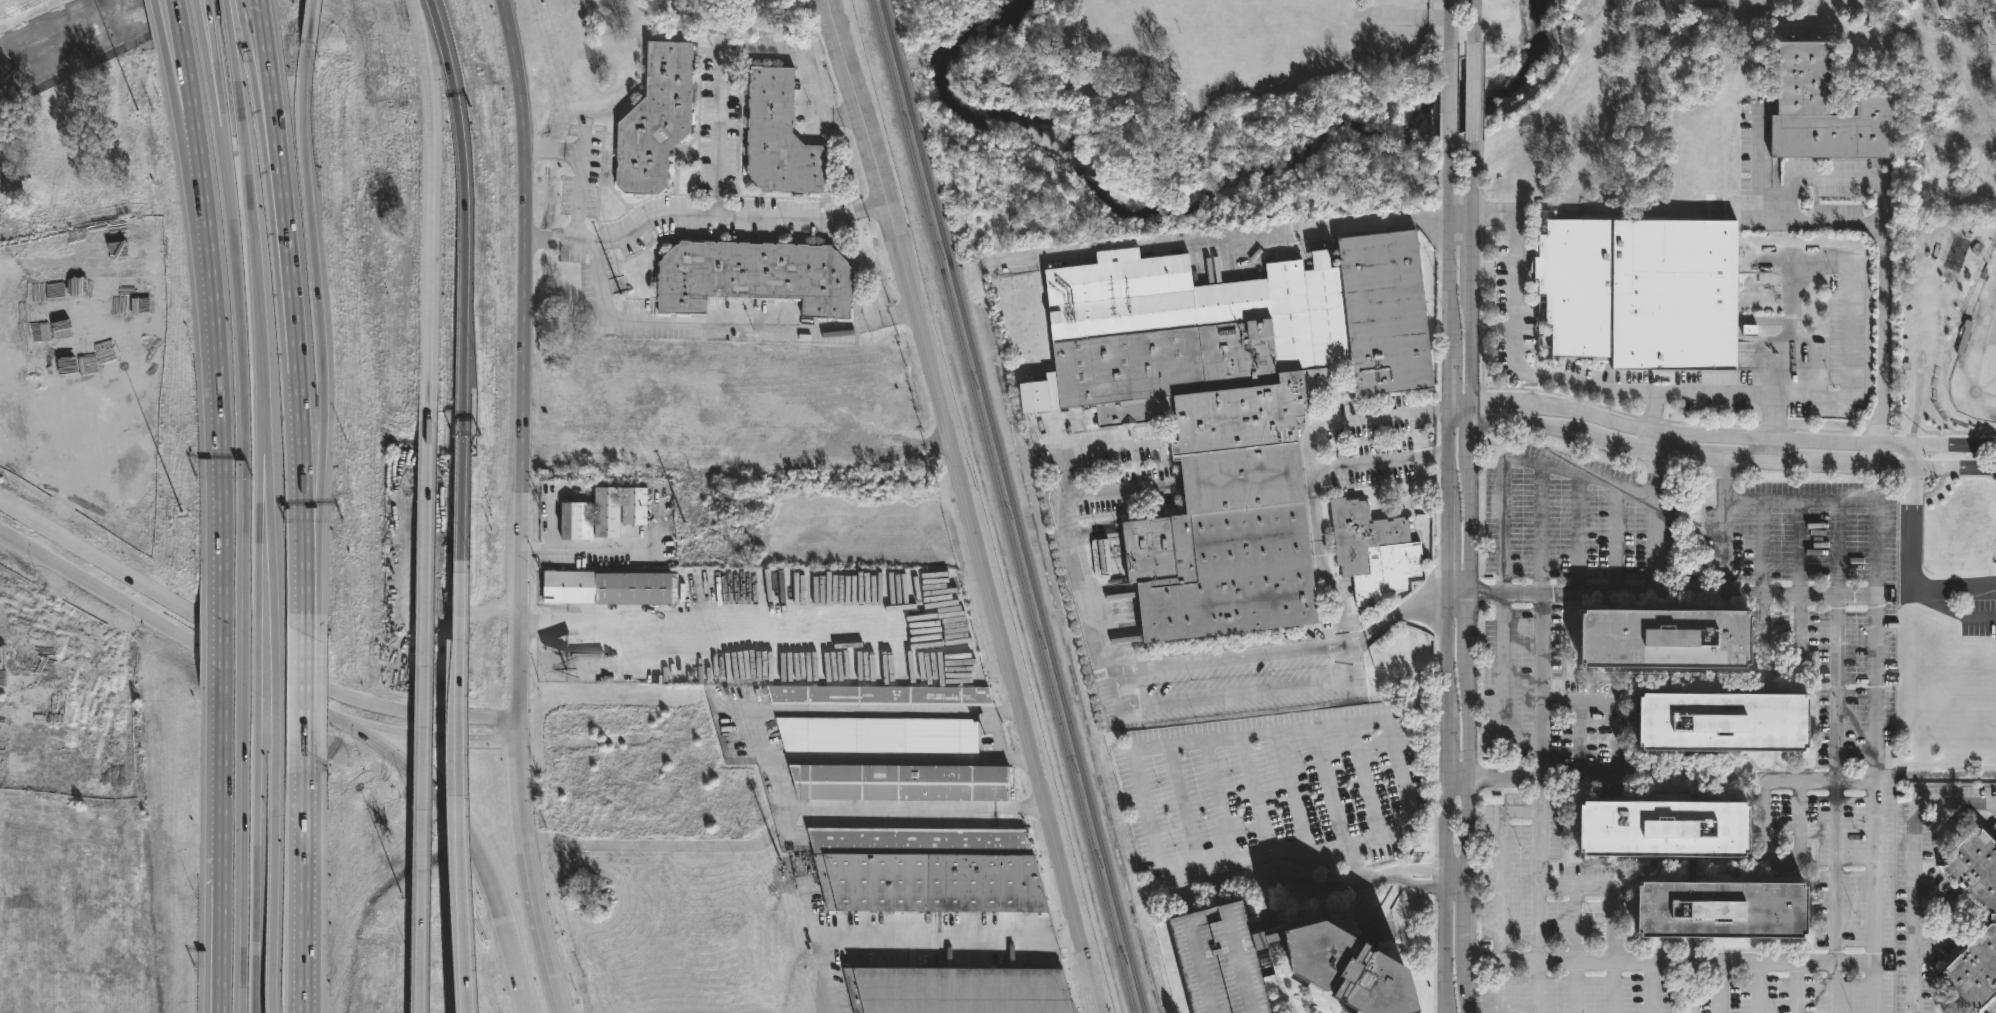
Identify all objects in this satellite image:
road: (237, 2)
road: (224, 5)
road: (206, 9)
road: (195, 11)
road: (176, 15)
road: (155, 20)
road: (1473, 22)
power tower: (544, 23)
road: (309, 24)
road: (1449, 25)
road: (243, 32)
park: (1227, 51)
road: (730, 58)
road: (186, 71)
road: (213, 73)
road: (266, 73)
road: (176, 75)
road: (208, 75)
road: (302, 90)
road: (1473, 94)
road: (1448, 100)
road: (262, 104)
road: (847, 112)
building: (1823, 112)
building: (656, 121)
road: (522, 132)
building: (779, 139)
road: (531, 148)
road: (569, 150)
road: (1817, 182)
road: (578, 195)
road: (429, 204)
road: (875, 205)
road: (670, 214)
road: (1768, 217)
road: (813, 219)
road: (1460, 226)
road: (251, 231)
road: (1298, 232)
road: (535, 238)
road: (314, 277)
building: (754, 277)
road: (464, 278)
road: (1847, 278)
power tower: (617, 287)
building: (1640, 291)
road: (902, 314)
road: (638, 318)
road: (1883, 321)
road: (837, 325)
road: (294, 333)
road: (220, 352)
park: (1977, 362)
road: (241, 365)
road: (1572, 384)
building: (1231, 408)
road: (1439, 409)
road: (1655, 412)
road: (1656, 434)
toll booth: (462, 436)
road: (1061, 437)
road: (1892, 445)
road: (1953, 445)
road: (1310, 448)
road: (1109, 449)
road: (1769, 451)
road: (1655, 454)
road: (1439, 456)
road: (1911, 456)
road: (1891, 467)
road: (1953, 468)
road: (77, 470)
road: (314, 471)
road: (1116, 490)
road: (519, 491)
road: (962, 506)
railway: (1002, 506)
railway: (1012, 506)
building: (634, 508)
building: (606, 514)
road: (550, 522)
building: (576, 522)
road: (1909, 531)
road: (259, 533)
road: (267, 537)
road: (1576, 538)
road: (1615, 543)
road: (616, 547)
road: (1502, 547)
road: (527, 548)
building: (1371, 549)
building: (1102, 556)
road: (1319, 558)
power tower: (696, 561)
road: (1081, 567)
road: (64, 569)
road: (1797, 571)
road: (304, 577)
road: (1470, 578)
road: (1446, 580)
road: (1958, 588)
building: (610, 589)
road: (1759, 591)
road: (1632, 598)
road: (1687, 599)
road: (1727, 599)
road: (1425, 605)
road: (1955, 613)
road: (529, 622)
road: (722, 626)
road: (1371, 626)
road: (75, 633)
road: (247, 647)
building: (1661, 647)
road: (1302, 650)
road: (223, 652)
road: (245, 662)
road: (1186, 663)
road: (257, 669)
road: (243, 671)
road: (274, 678)
road: (1874, 681)
road: (1282, 688)
road: (304, 692)
road: (1125, 694)
building: (881, 696)
road: (872, 708)
road: (1006, 708)
road: (424, 711)
building: (1719, 730)
road: (1278, 734)
building: (880, 735)
road: (1539, 740)
road: (439, 741)
road: (1615, 753)
road: (1834, 757)
road: (886, 758)
road: (1018, 759)
road: (407, 764)
road: (769, 772)
road: (1492, 780)
building: (905, 784)
road: (1366, 784)
road: (1794, 784)
road: (462, 787)
road: (1331, 792)
road: (1257, 797)
road: (1295, 798)
road: (1221, 804)
road: (1995, 805)
road: (1799, 809)
road: (901, 810)
road: (1185, 810)
road: (1031, 811)
road: (523, 825)
building: (1659, 837)
road: (652, 846)
road: (221, 861)
road: (1781, 863)
road: (244, 866)
road: (1219, 867)
road: (1914, 867)
road: (255, 869)
building: (930, 871)
road: (273, 875)
road: (1457, 878)
road: (302, 881)
power tower: (785, 886)
road: (1502, 895)
road: (497, 905)
road: (814, 912)
road: (1612, 912)
road: (1952, 918)
building: (1716, 919)
building: (1993, 919)
road: (949, 938)
building: (1263, 940)
road: (1575, 949)
building: (1220, 961)
parking garage: (1220, 961)
road: (1671, 962)
building: (1342, 971)
road: (548, 972)
road: (833, 975)
road: (1652, 987)
road: (1719, 987)
road: (1758, 987)
road: (1796, 987)
building: (961, 989)

